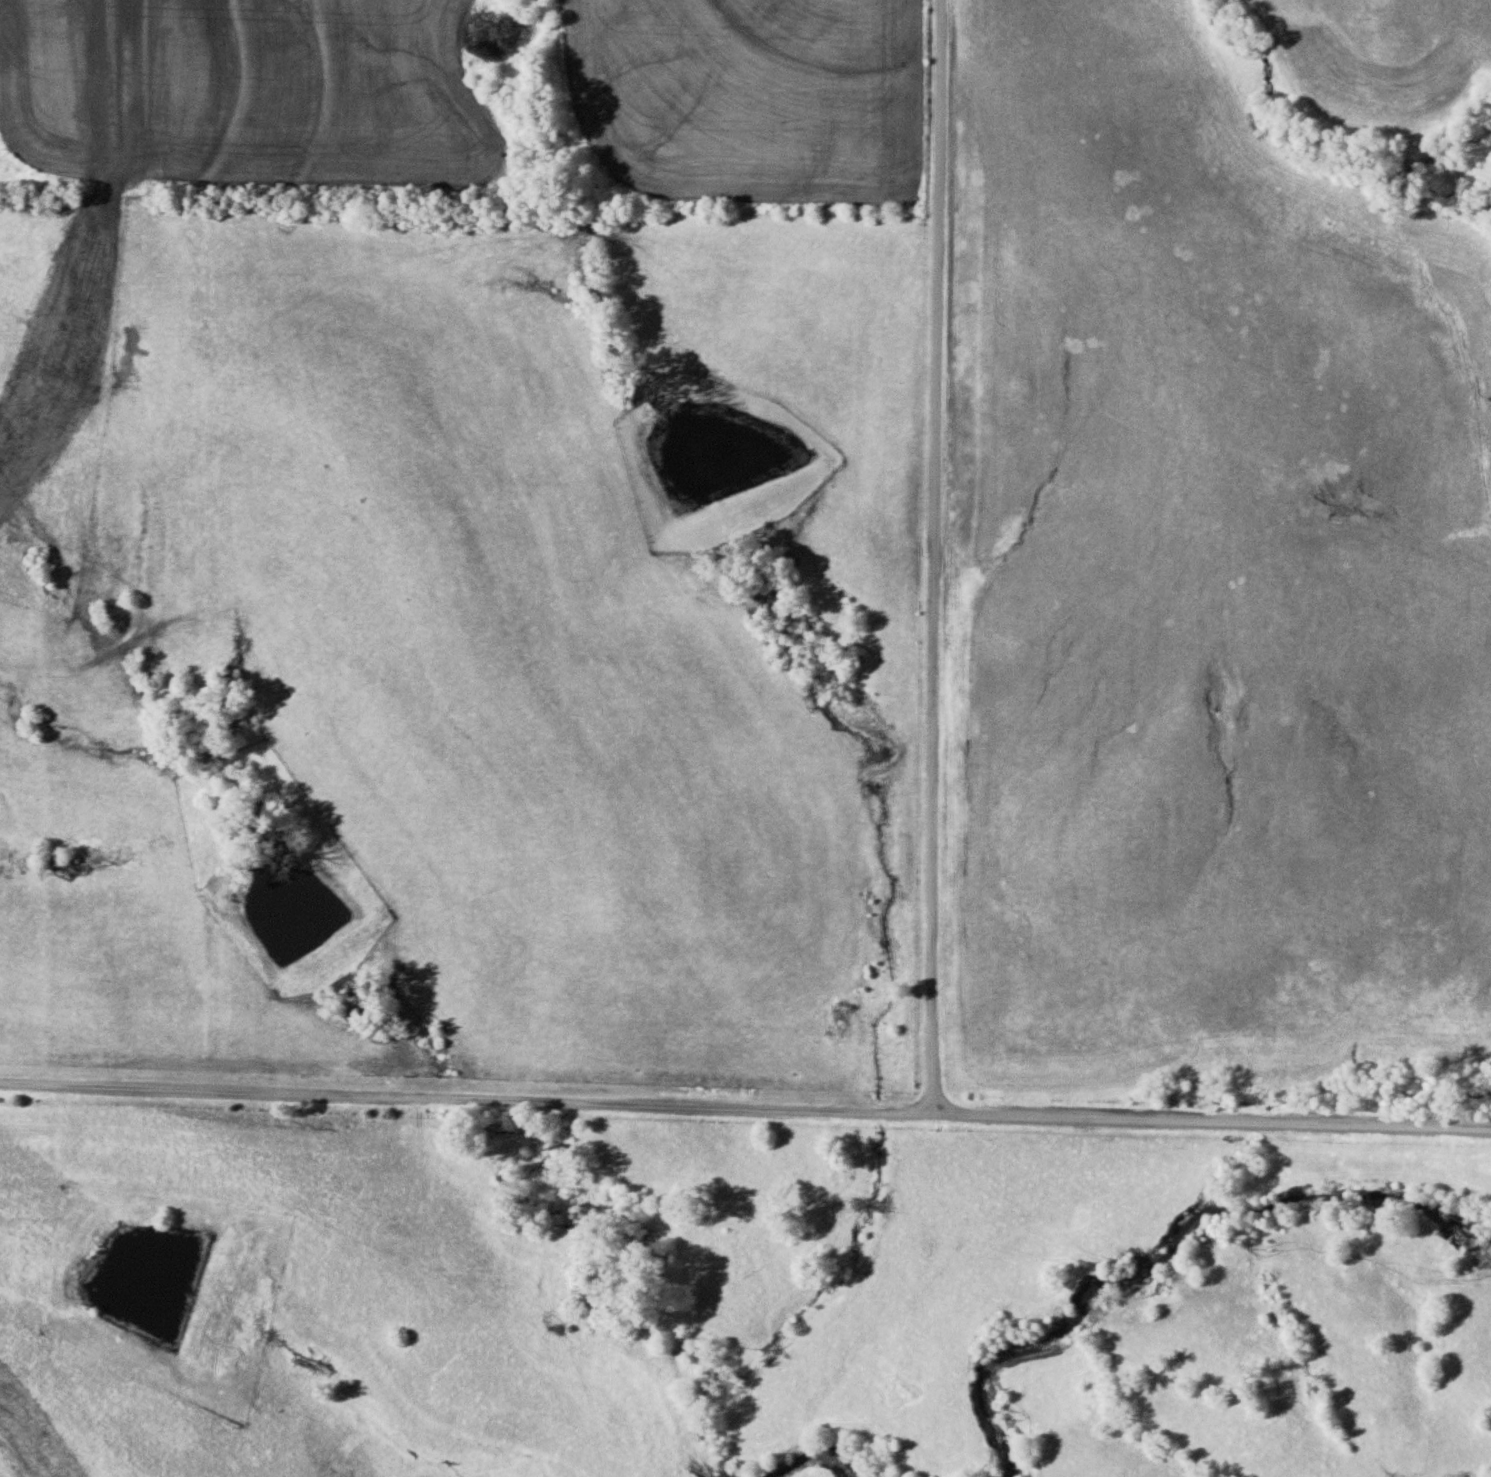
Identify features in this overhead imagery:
road: (935, 556)
road: (745, 1106)

